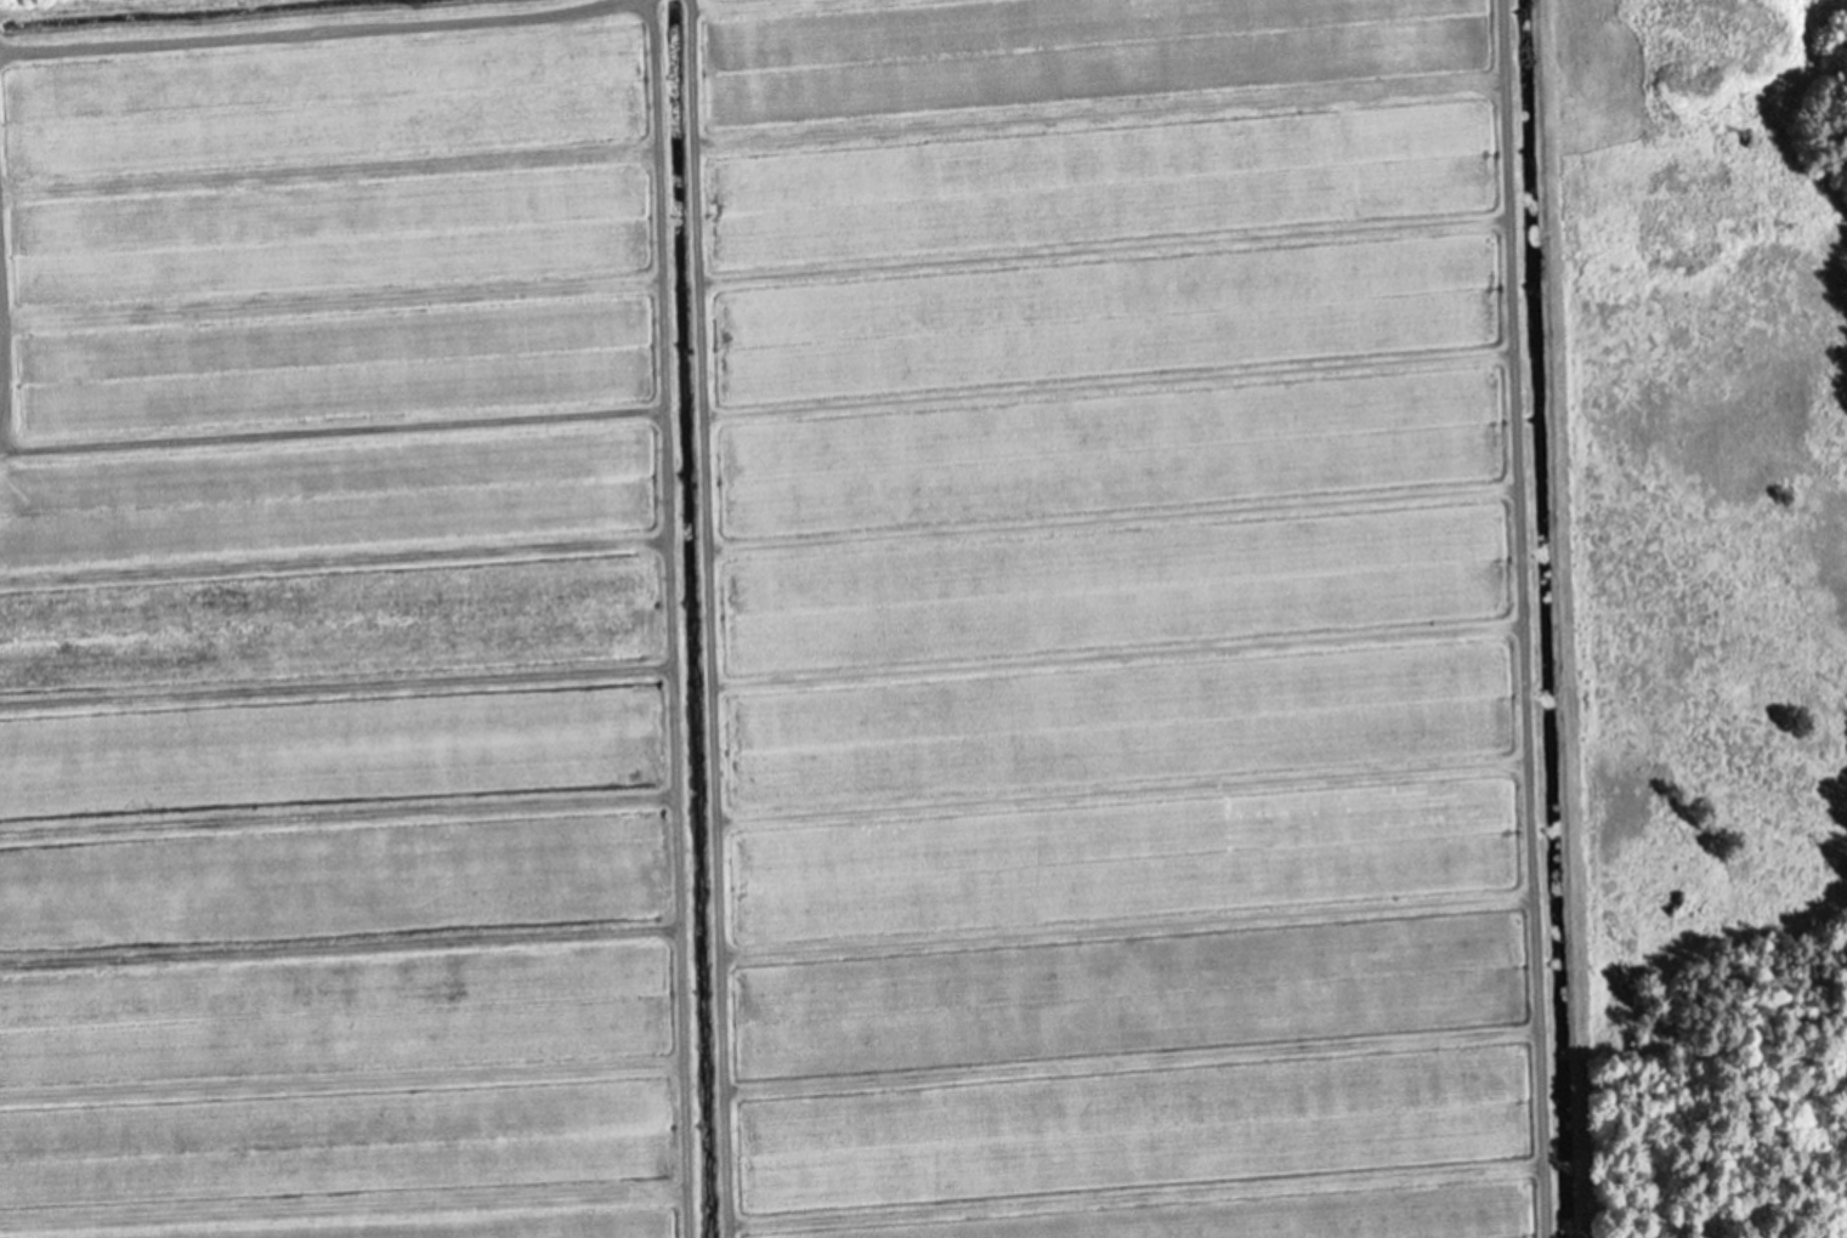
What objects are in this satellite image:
road: (1829, 10)
road: (283, 125)
road: (732, 618)
crop: (786, 623)

